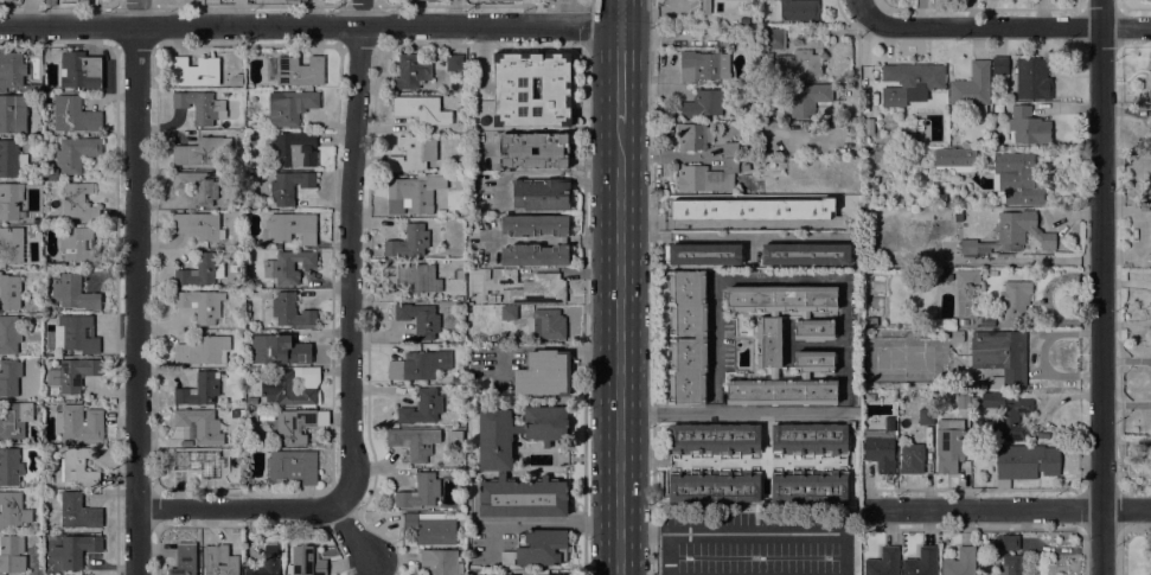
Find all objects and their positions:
building: (289, 0)
building: (503, 0)
building: (299, 1)
building: (1145, 1)
building: (704, 7)
road: (862, 7)
building: (795, 9)
road: (568, 12)
road: (619, 13)
road: (309, 25)
road: (1008, 26)
building: (710, 36)
building: (775, 38)
building: (36, 51)
building: (455, 62)
building: (799, 64)
building: (703, 65)
building: (999, 65)
building: (1150, 66)
building: (81, 70)
building: (295, 70)
road: (619, 70)
building: (14, 71)
building: (194, 71)
building: (410, 71)
building: (224, 76)
building: (1032, 78)
building: (236, 79)
building: (910, 82)
building: (512, 90)
building: (972, 90)
building: (807, 97)
building: (702, 103)
building: (199, 106)
building: (289, 107)
building: (421, 109)
building: (13, 113)
building: (75, 115)
building: (1150, 119)
building: (257, 123)
building: (868, 126)
building: (1028, 126)
building: (249, 134)
building: (908, 134)
building: (693, 135)
building: (294, 148)
building: (202, 151)
building: (552, 151)
building: (730, 151)
building: (75, 153)
building: (411, 153)
road: (666, 156)
building: (953, 156)
building: (11, 158)
building: (1150, 172)
building: (50, 174)
building: (706, 177)
building: (460, 178)
building: (1017, 178)
building: (197, 186)
building: (288, 186)
building: (413, 194)
building: (542, 194)
building: (941, 198)
building: (9, 200)
building: (78, 202)
building: (752, 209)
building: (198, 225)
building: (535, 225)
building: (289, 226)
building: (1150, 226)
building: (1022, 231)
building: (562, 239)
building: (409, 241)
building: (249, 243)
road: (737, 243)
building: (11, 244)
building: (78, 245)
building: (270, 245)
building: (973, 245)
building: (704, 254)
building: (806, 254)
building: (533, 255)
building: (288, 266)
building: (202, 269)
building: (992, 273)
building: (504, 275)
building: (414, 276)
building: (967, 279)
road: (778, 280)
road: (135, 287)
road: (1100, 287)
road: (347, 289)
building: (538, 289)
building: (9, 292)
building: (75, 293)
building: (491, 298)
building: (781, 298)
building: (498, 299)
building: (1013, 302)
building: (200, 304)
building: (290, 311)
building: (509, 312)
building: (774, 313)
building: (805, 315)
building: (420, 319)
building: (870, 321)
building: (550, 324)
building: (813, 330)
building: (8, 334)
building: (75, 334)
building: (701, 337)
building: (769, 341)
road: (618, 345)
building: (279, 350)
building: (203, 351)
building: (1002, 356)
building: (814, 360)
building: (417, 366)
building: (71, 373)
building: (544, 373)
building: (774, 373)
building: (9, 377)
building: (456, 379)
building: (199, 389)
building: (284, 389)
building: (781, 391)
building: (251, 400)
building: (963, 401)
building: (422, 408)
building: (235, 413)
road: (741, 415)
building: (1008, 415)
building: (926, 416)
building: (15, 420)
building: (79, 423)
building: (889, 423)
building: (293, 424)
building: (200, 426)
building: (455, 439)
building: (411, 442)
building: (949, 445)
building: (880, 449)
building: (495, 459)
building: (912, 459)
building: (455, 460)
building: (757, 462)
building: (1025, 462)
building: (199, 465)
building: (77, 466)
building: (9, 467)
building: (292, 467)
building: (420, 491)
road: (235, 507)
road: (1005, 509)
building: (13, 510)
building: (77, 511)
road: (537, 520)
building: (431, 526)
road: (754, 530)
building: (1006, 542)
building: (541, 548)
building: (77, 550)
building: (11, 552)
road: (665, 554)
building: (506, 557)
building: (184, 560)
building: (219, 561)
building: (307, 561)
building: (267, 562)
building: (440, 562)
building: (883, 562)
building: (921, 562)
building: (960, 562)
building: (1010, 564)
building: (984, 566)
building: (539, 574)

